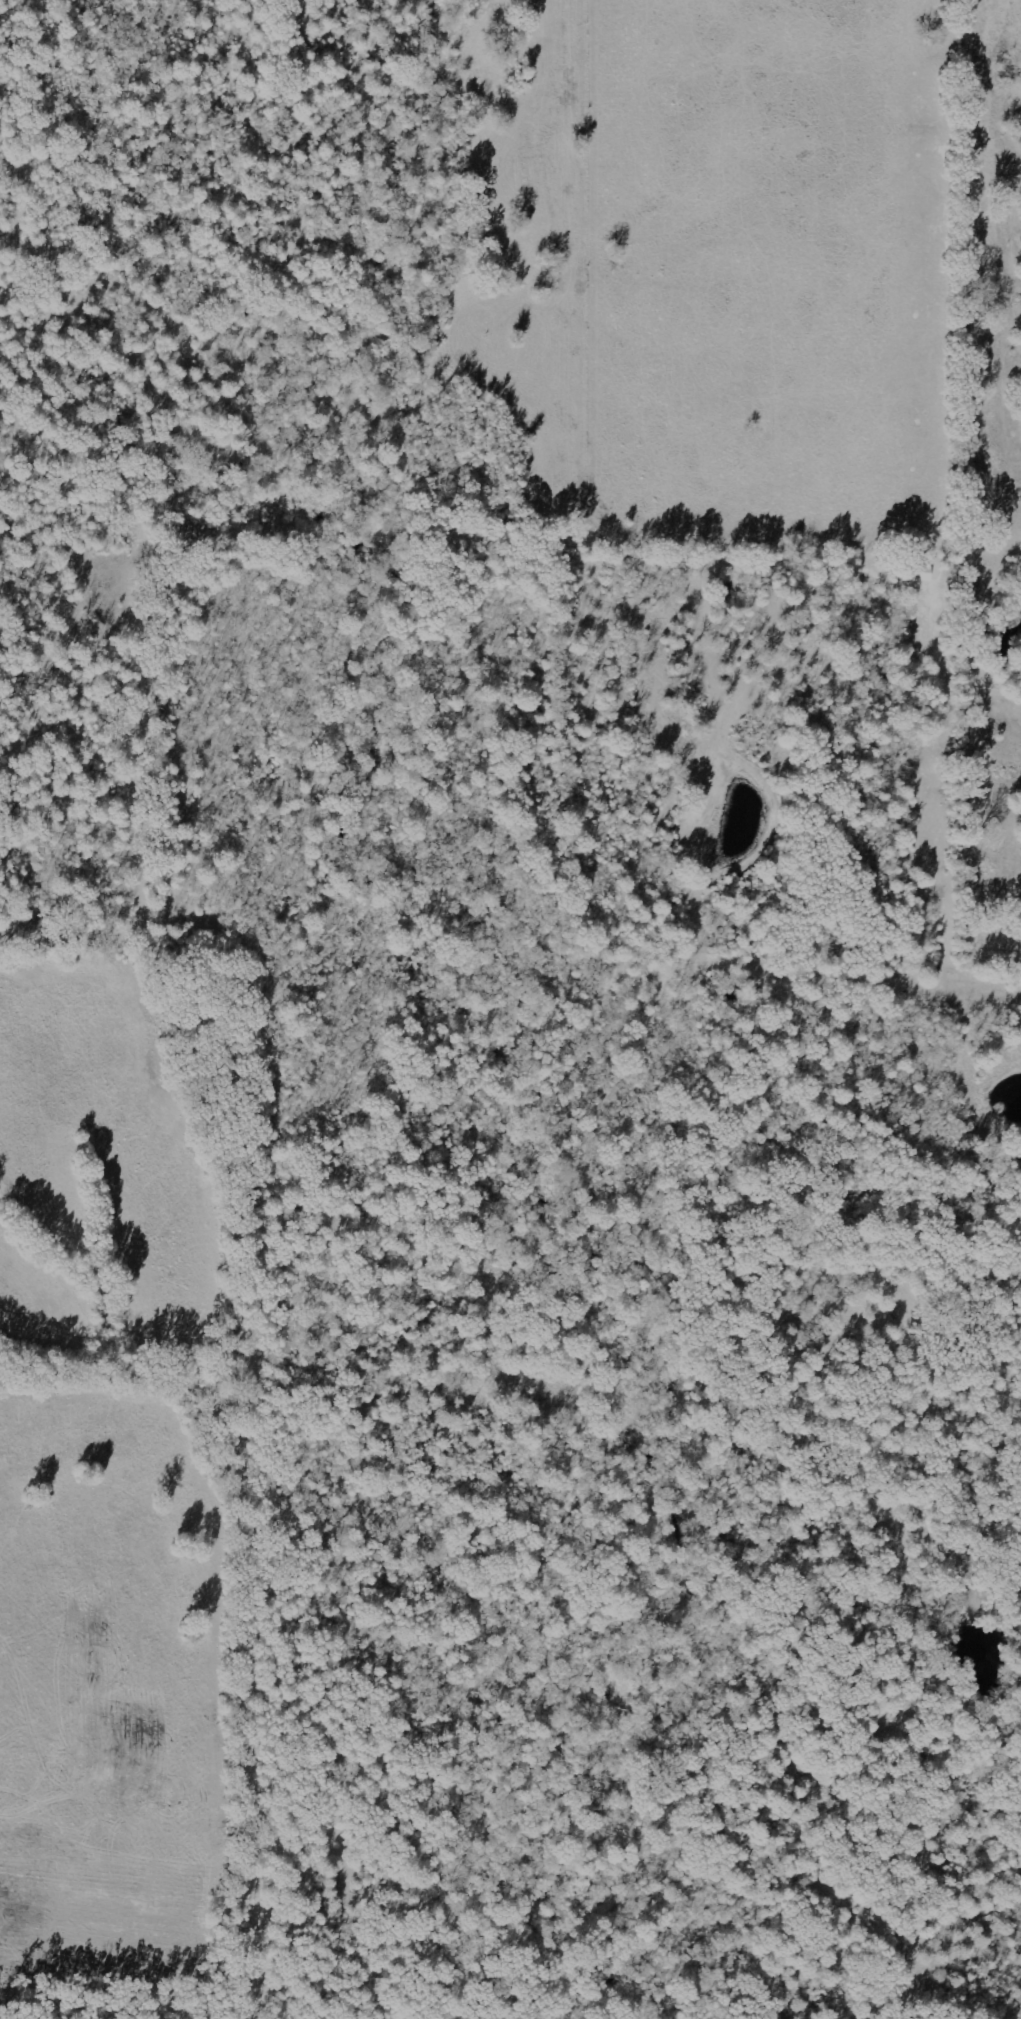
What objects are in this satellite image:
road: (974, 468)

